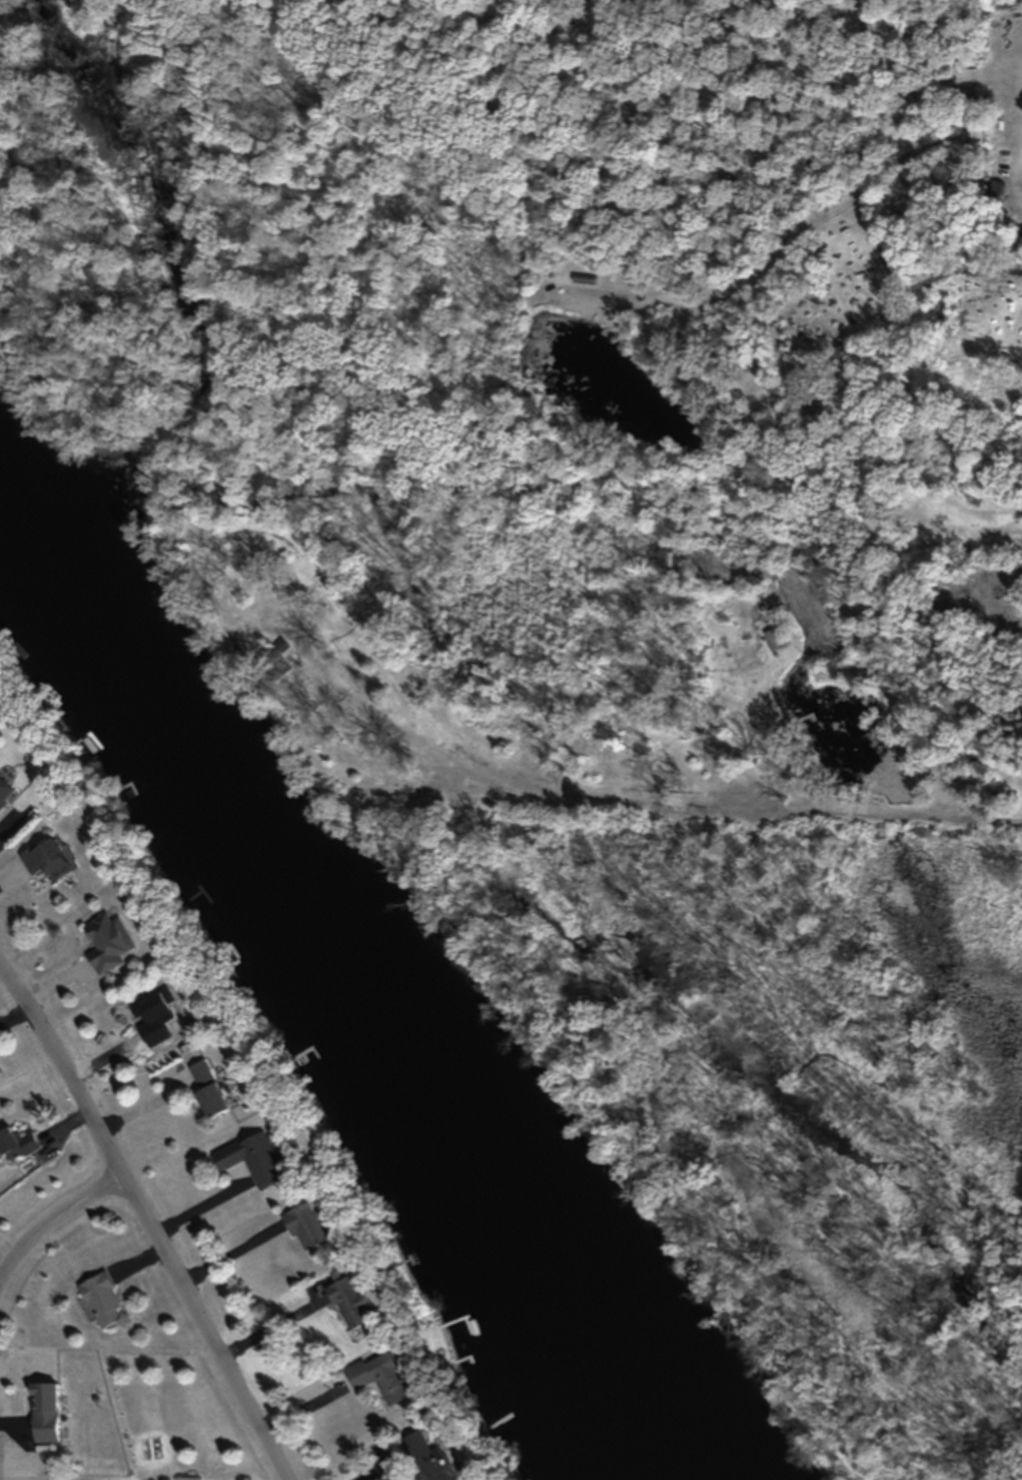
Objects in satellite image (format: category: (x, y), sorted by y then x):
building: (5, 792)
building: (48, 860)
building: (109, 943)
river: (347, 989)
building: (159, 1018)
building: (0, 1073)
building: (209, 1089)
building: (16, 1145)
building: (255, 1161)
road: (146, 1226)
road: (54, 1227)
building: (307, 1228)
building: (102, 1298)
building: (351, 1306)
building: (382, 1379)
building: (46, 1412)
building: (426, 1458)

